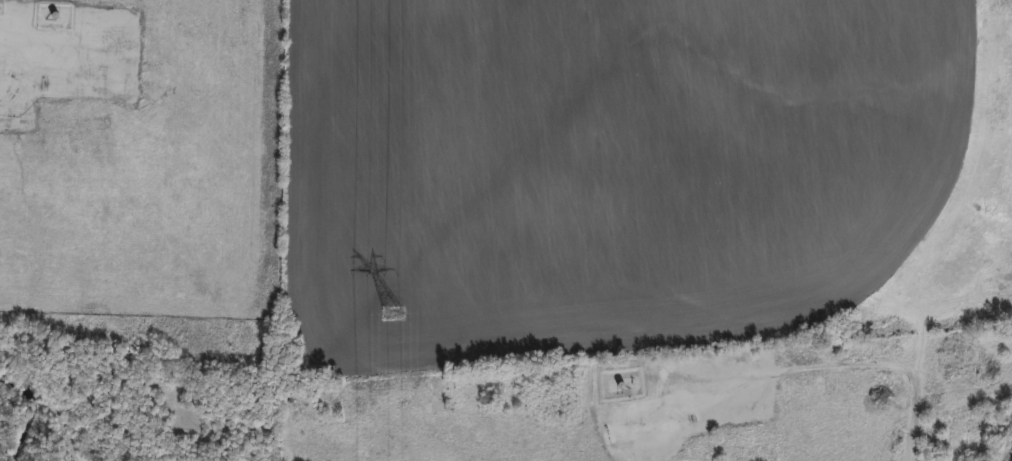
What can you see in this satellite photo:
power tower: (389, 312)

